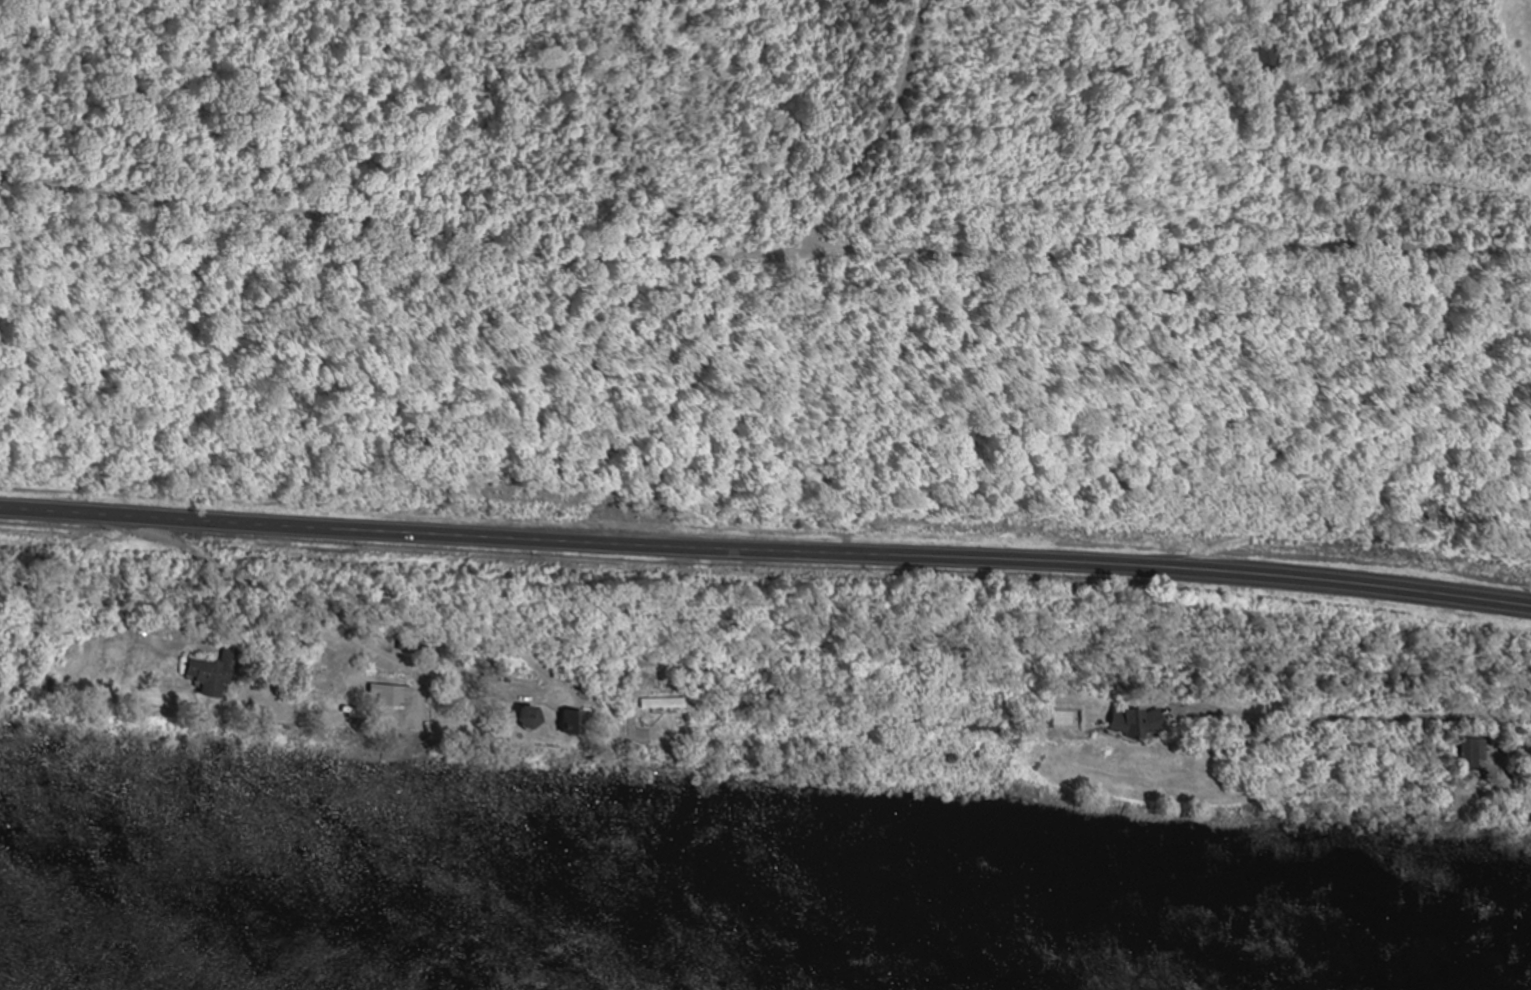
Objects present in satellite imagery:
building: (1266, 61)
road: (867, 101)
road: (765, 207)
road: (766, 545)
building: (216, 673)
building: (516, 716)
road: (1388, 717)
building: (567, 722)
building: (1129, 723)
building: (971, 726)
building: (1470, 754)

